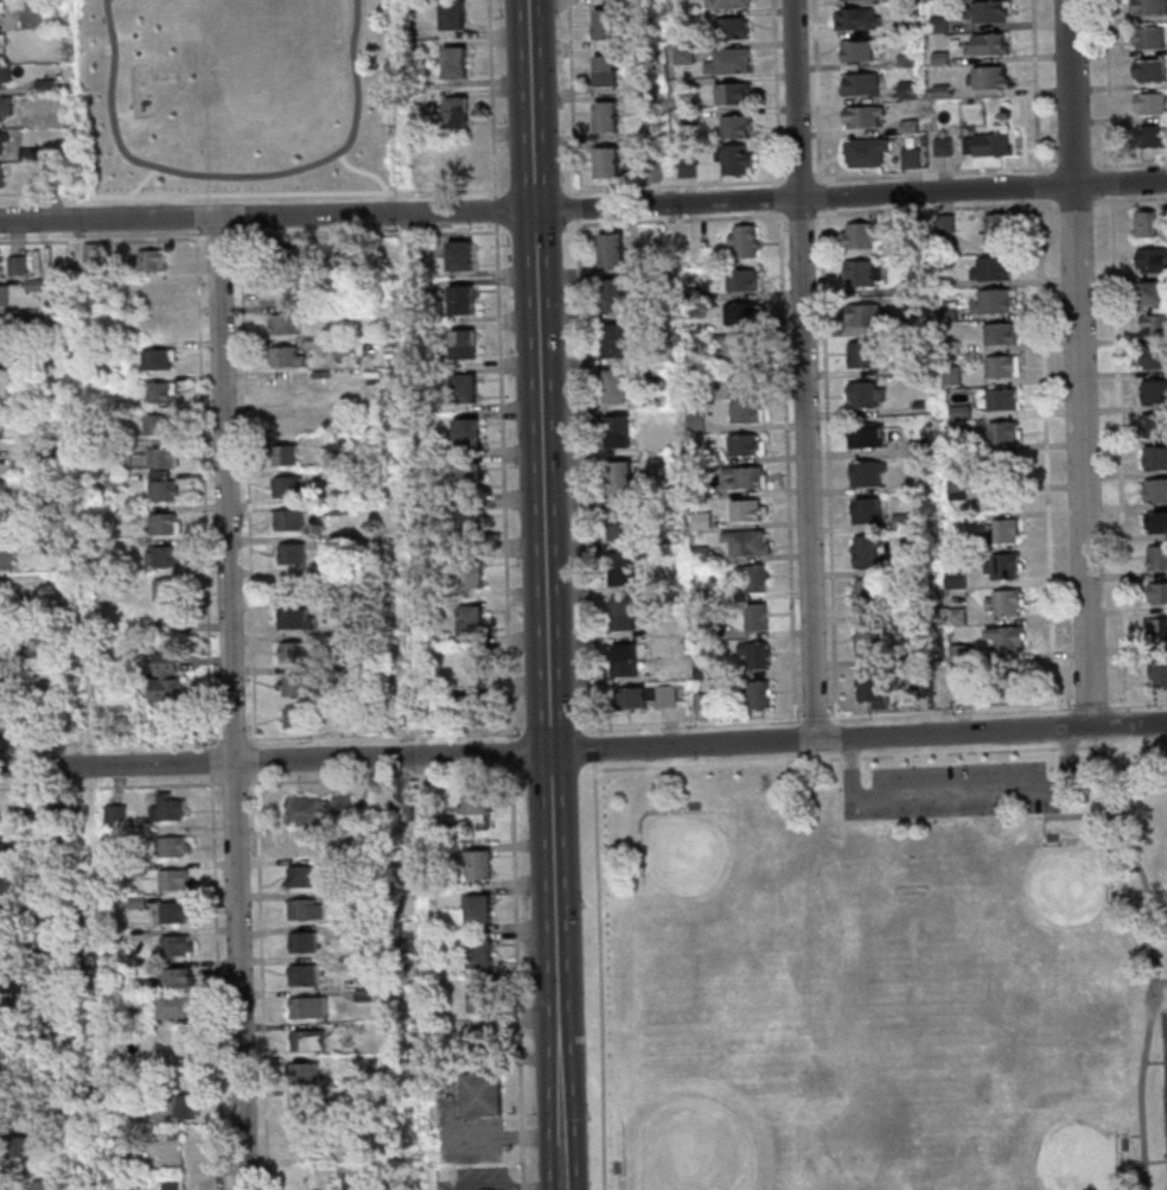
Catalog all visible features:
building: (728, 4)
building: (1, 5)
building: (1146, 7)
building: (0, 11)
building: (982, 11)
building: (28, 13)
building: (449, 13)
building: (853, 18)
building: (604, 23)
building: (936, 24)
building: (903, 26)
building: (729, 27)
road: (121, 33)
building: (1, 37)
building: (1144, 37)
building: (983, 45)
building: (854, 50)
building: (681, 56)
building: (937, 58)
building: (452, 61)
building: (726, 61)
building: (903, 61)
building: (602, 68)
building: (1146, 70)
building: (4, 72)
building: (986, 77)
building: (857, 83)
road: (1108, 83)
road: (1033, 84)
building: (42, 85)
road: (816, 88)
road: (774, 89)
building: (905, 90)
building: (938, 91)
park: (231, 93)
building: (728, 93)
building: (1147, 102)
building: (4, 106)
building: (453, 110)
road: (127, 114)
building: (602, 115)
building: (859, 116)
building: (685, 117)
building: (905, 125)
building: (733, 126)
building: (1148, 135)
building: (2, 136)
building: (989, 144)
building: (646, 145)
building: (940, 147)
building: (862, 151)
building: (26, 153)
road: (493, 155)
building: (732, 158)
building: (907, 158)
building: (455, 160)
building: (604, 160)
road: (1130, 163)
road: (1072, 165)
building: (684, 167)
building: (2, 170)
road: (361, 170)
building: (649, 171)
road: (782, 171)
road: (798, 171)
road: (935, 171)
road: (816, 172)
road: (231, 174)
building: (52, 179)
road: (824, 179)
road: (142, 180)
road: (1110, 180)
road: (772, 182)
road: (675, 183)
road: (1037, 184)
road: (247, 192)
road: (824, 195)
road: (1111, 196)
road: (773, 197)
road: (1131, 197)
road: (1074, 199)
road: (1038, 201)
road: (936, 206)
road: (583, 208)
road: (825, 210)
road: (774, 212)
road: (676, 218)
road: (816, 221)
road: (799, 223)
building: (943, 223)
building: (1143, 223)
road: (783, 227)
building: (993, 230)
road: (364, 234)
building: (856, 234)
road: (218, 237)
road: (102, 238)
building: (741, 241)
building: (608, 248)
building: (88, 252)
building: (457, 253)
building: (279, 256)
building: (344, 259)
building: (146, 260)
building: (1150, 260)
building: (0, 261)
building: (13, 265)
building: (989, 268)
building: (859, 272)
building: (739, 279)
building: (643, 281)
building: (31, 284)
building: (907, 287)
building: (1148, 291)
building: (610, 292)
building: (154, 293)
building: (2, 294)
building: (459, 298)
building: (990, 300)
building: (736, 312)
building: (945, 313)
building: (861, 314)
building: (281, 323)
building: (911, 324)
building: (1152, 324)
building: (6, 327)
building: (996, 333)
building: (612, 338)
building: (459, 342)
building: (735, 345)
building: (946, 346)
building: (338, 348)
building: (857, 354)
building: (282, 357)
building: (1152, 357)
building: (153, 358)
building: (1, 361)
road: (1077, 363)
building: (997, 365)
road: (579, 368)
road: (804, 369)
building: (949, 375)
building: (740, 377)
building: (613, 384)
building: (460, 387)
building: (697, 389)
building: (1, 392)
building: (155, 392)
building: (1152, 392)
building: (862, 393)
building: (999, 399)
building: (916, 405)
building: (742, 411)
building: (338, 413)
building: (957, 413)
building: (0, 420)
building: (155, 421)
building: (285, 421)
building: (691, 421)
building: (1153, 425)
building: (614, 429)
building: (463, 431)
building: (1000, 431)
building: (862, 434)
building: (337, 443)
building: (950, 443)
building: (740, 444)
building: (914, 447)
road: (1118, 452)
building: (281, 454)
building: (158, 457)
building: (1154, 457)
road: (827, 464)
building: (1000, 466)
road: (786, 467)
building: (863, 471)
building: (336, 475)
building: (464, 476)
building: (617, 476)
building: (740, 477)
building: (158, 486)
building: (287, 486)
building: (954, 490)
building: (1154, 490)
building: (0, 491)
building: (336, 507)
building: (742, 510)
building: (863, 510)
building: (122, 513)
building: (285, 518)
building: (899, 520)
building: (697, 521)
building: (1155, 521)
building: (618, 522)
building: (160, 523)
building: (465, 523)
building: (1, 526)
building: (1002, 530)
building: (337, 540)
building: (744, 542)
building: (50, 547)
building: (862, 549)
building: (288, 553)
building: (159, 555)
building: (696, 555)
building: (1155, 558)
building: (5, 559)
building: (917, 566)
building: (1000, 566)
building: (619, 568)
building: (466, 572)
building: (750, 578)
building: (952, 579)
building: (1, 591)
building: (1156, 592)
road: (410, 594)
road: (544, 594)
building: (865, 594)
building: (164, 602)
building: (1001, 602)
building: (331, 609)
building: (620, 613)
building: (753, 616)
building: (954, 616)
building: (292, 618)
building: (467, 619)
building: (6, 622)
building: (1156, 629)
building: (1002, 637)
building: (865, 639)
building: (330, 641)
building: (33, 648)
building: (288, 651)
building: (956, 653)
building: (752, 654)
building: (920, 654)
building: (4, 656)
building: (621, 660)
building: (470, 664)
building: (699, 673)
building: (1156, 673)
building: (338, 675)
building: (165, 683)
building: (292, 685)
building: (1010, 685)
building: (917, 686)
building: (875, 687)
building: (4, 689)
building: (957, 689)
building: (754, 693)
building: (664, 695)
building: (627, 698)
road: (1137, 700)
road: (229, 702)
building: (697, 702)
road: (1090, 702)
building: (470, 708)
road: (950, 711)
building: (295, 717)
road: (814, 717)
road: (695, 721)
road: (1127, 721)
building: (5, 723)
road: (795, 737)
road: (699, 744)
road: (1122, 745)
road: (593, 747)
road: (1067, 747)
road: (958, 751)
road: (796, 756)
road: (849, 756)
road: (716, 763)
road: (115, 765)
parking lot: (948, 791)
road: (958, 795)
building: (472, 802)
building: (165, 808)
building: (315, 809)
building: (402, 809)
building: (49, 812)
building: (111, 815)
road: (1084, 815)
road: (1044, 825)
building: (431, 834)
building: (109, 838)
building: (300, 842)
building: (170, 846)
building: (7, 848)
building: (358, 864)
building: (474, 864)
building: (134, 868)
building: (298, 876)
building: (170, 878)
building: (9, 883)
park: (721, 890)
building: (134, 902)
building: (44, 904)
building: (300, 909)
building: (476, 909)
building: (171, 911)
park: (1038, 912)
building: (12, 916)
building: (359, 929)
road: (1159, 933)
building: (300, 942)
building: (173, 944)
building: (14, 950)
building: (477, 953)
road: (1150, 957)
building: (361, 962)
building: (142, 968)
building: (53, 973)
park: (887, 973)
building: (299, 974)
road: (597, 975)
building: (174, 979)
building: (13, 981)
road: (1159, 981)
building: (361, 994)
flagpole: (1153, 995)
building: (479, 997)
road: (1146, 998)
building: (172, 1006)
building: (305, 1006)
building: (12, 1016)
park: (917, 1038)
building: (174, 1039)
building: (305, 1041)
building: (479, 1041)
building: (12, 1048)
park: (1165, 1048)
road: (1154, 1061)
building: (183, 1071)
building: (300, 1073)
building: (350, 1093)
building: (478, 1094)
building: (299, 1106)
building: (183, 1107)
park: (1047, 1128)
road: (1120, 1133)
park: (700, 1134)
building: (170, 1135)
building: (19, 1146)
building: (79, 1150)
road: (1155, 1162)
building: (39, 1185)
building: (168, 1185)

